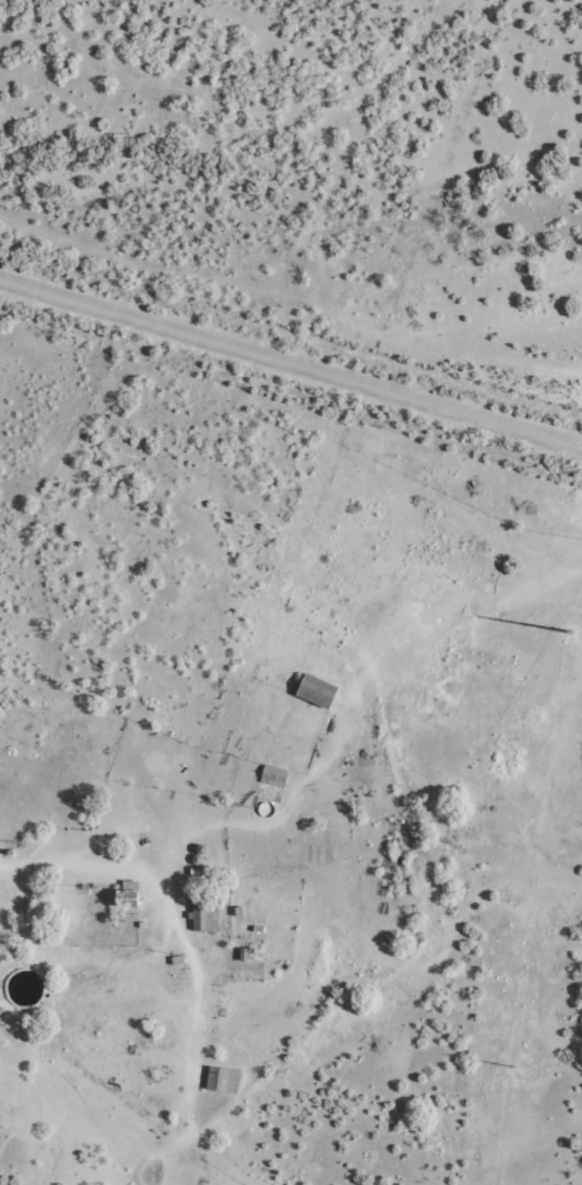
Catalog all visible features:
road: (291, 365)
power tower: (571, 640)
building: (314, 689)
road: (214, 883)
road: (555, 998)
power tower: (514, 1070)
building: (221, 1079)

